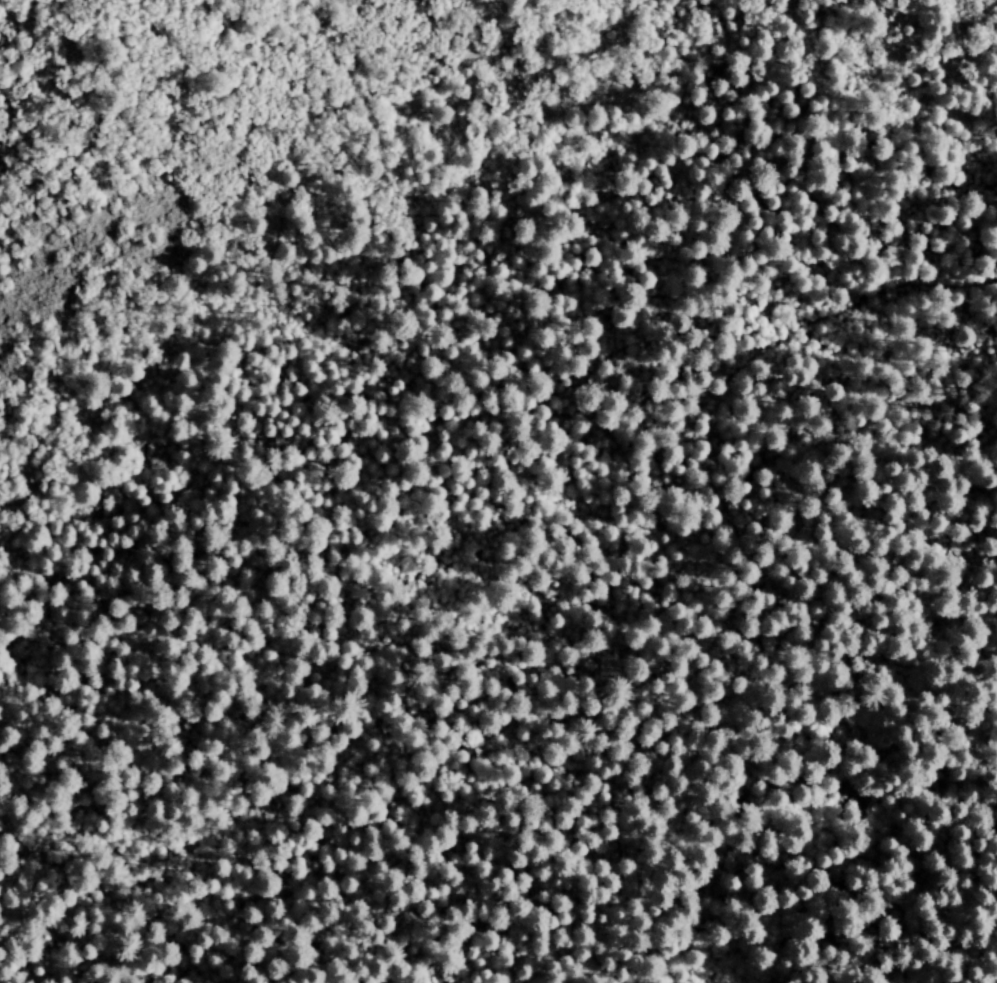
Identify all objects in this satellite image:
road: (702, 418)

